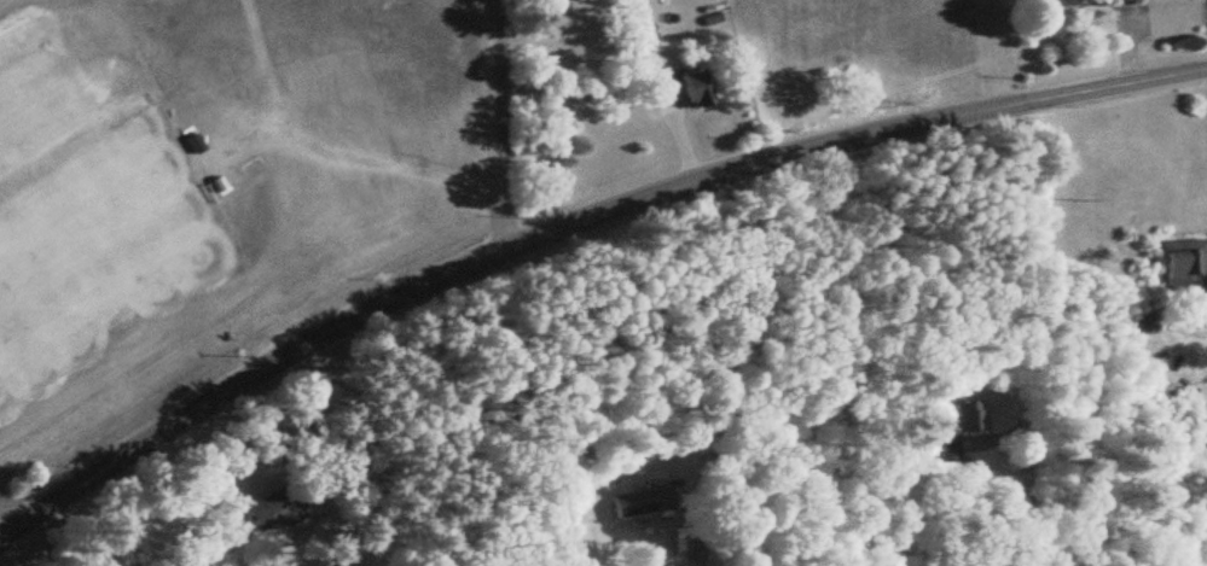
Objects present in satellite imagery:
building: (1114, 0)
building: (1045, 4)
parking lot: (18, 11)
building: (636, 34)
road: (1206, 75)
building: (667, 87)
road: (498, 123)
building: (186, 145)
park: (88, 191)
road: (571, 221)
building: (1176, 263)
road: (1026, 302)
building: (1141, 326)
building: (959, 416)
building: (939, 447)
road: (1027, 498)
building: (628, 504)

